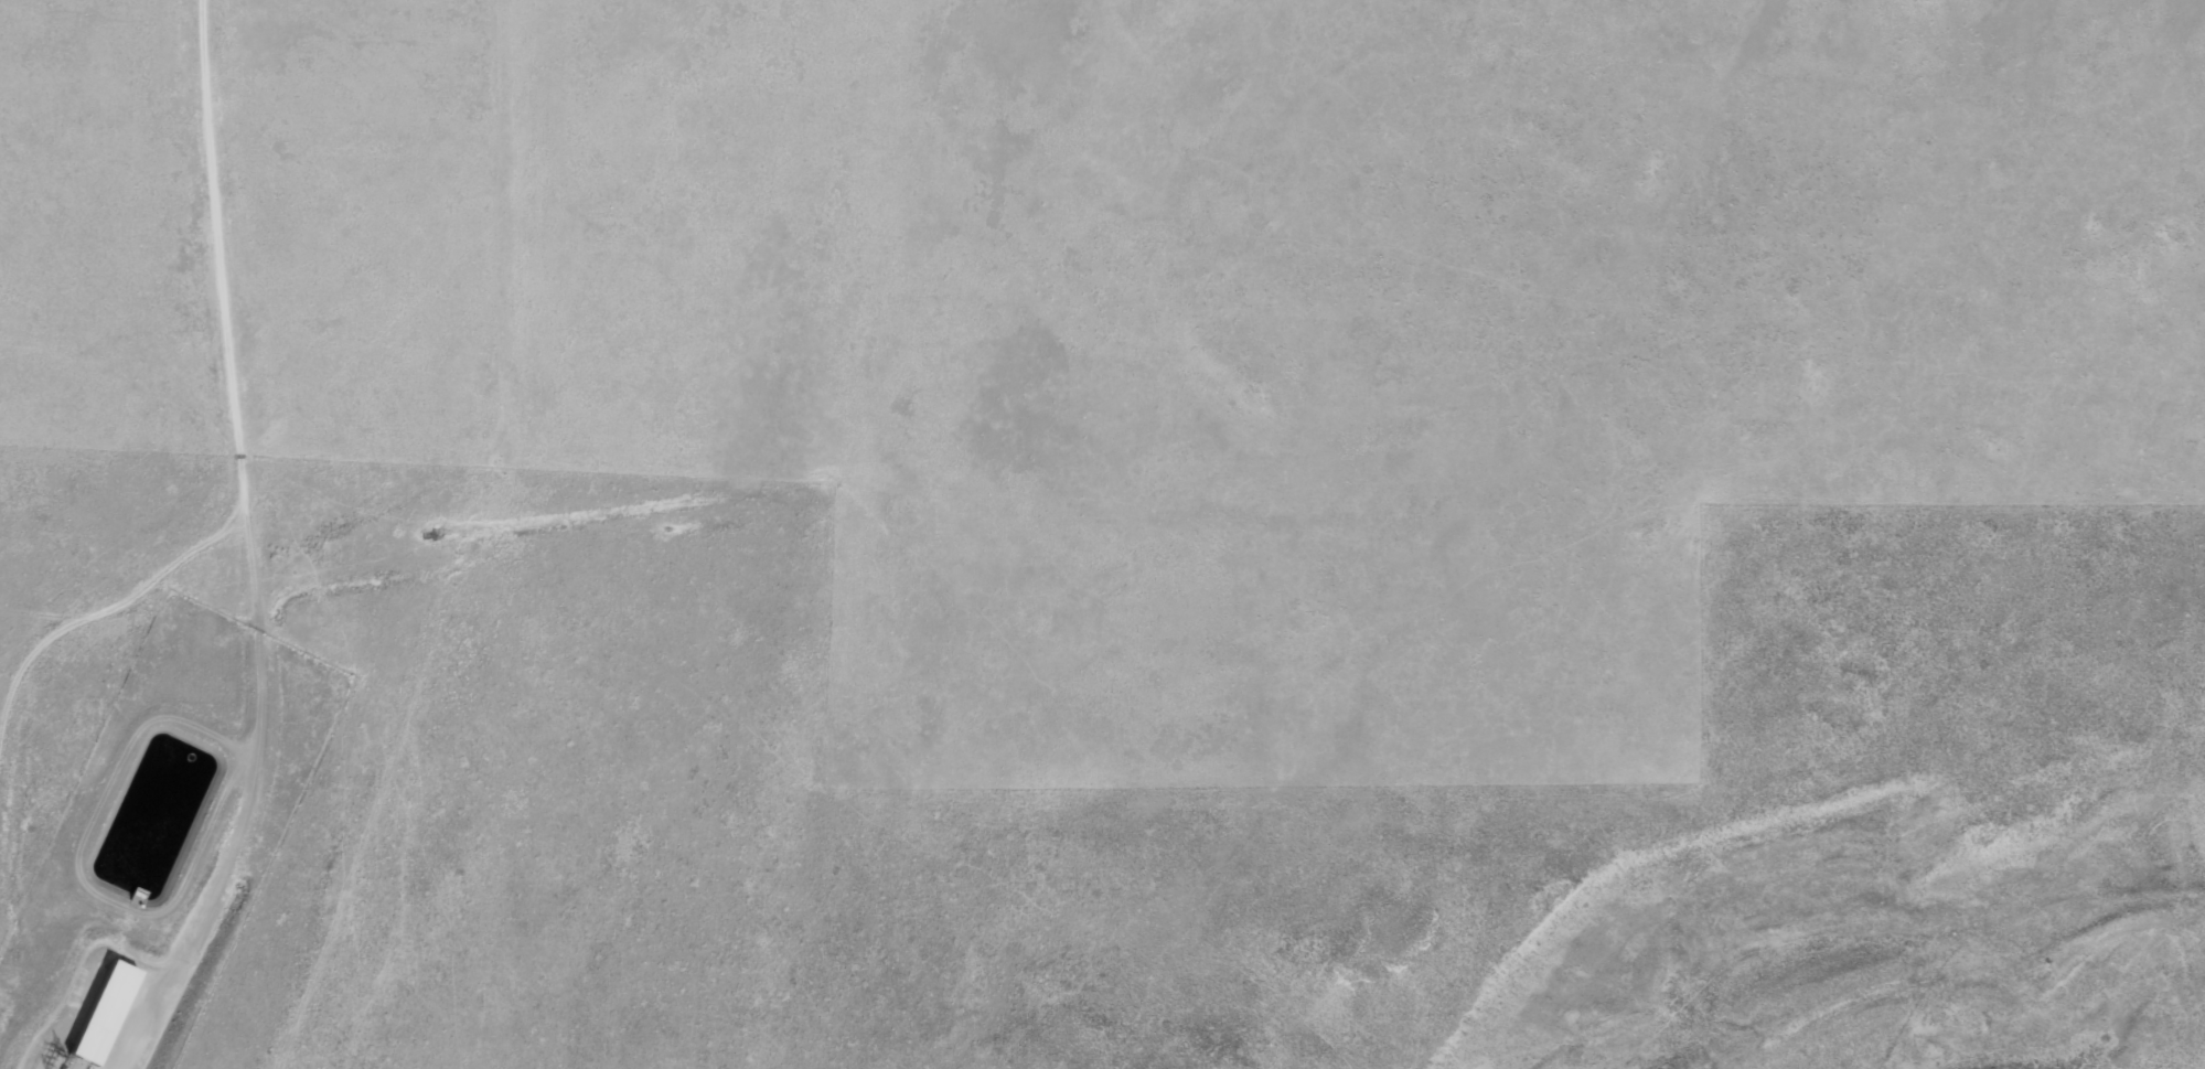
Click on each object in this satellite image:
road: (238, 462)
building: (104, 1011)
power substation: (46, 1059)
road: (0, 1065)

